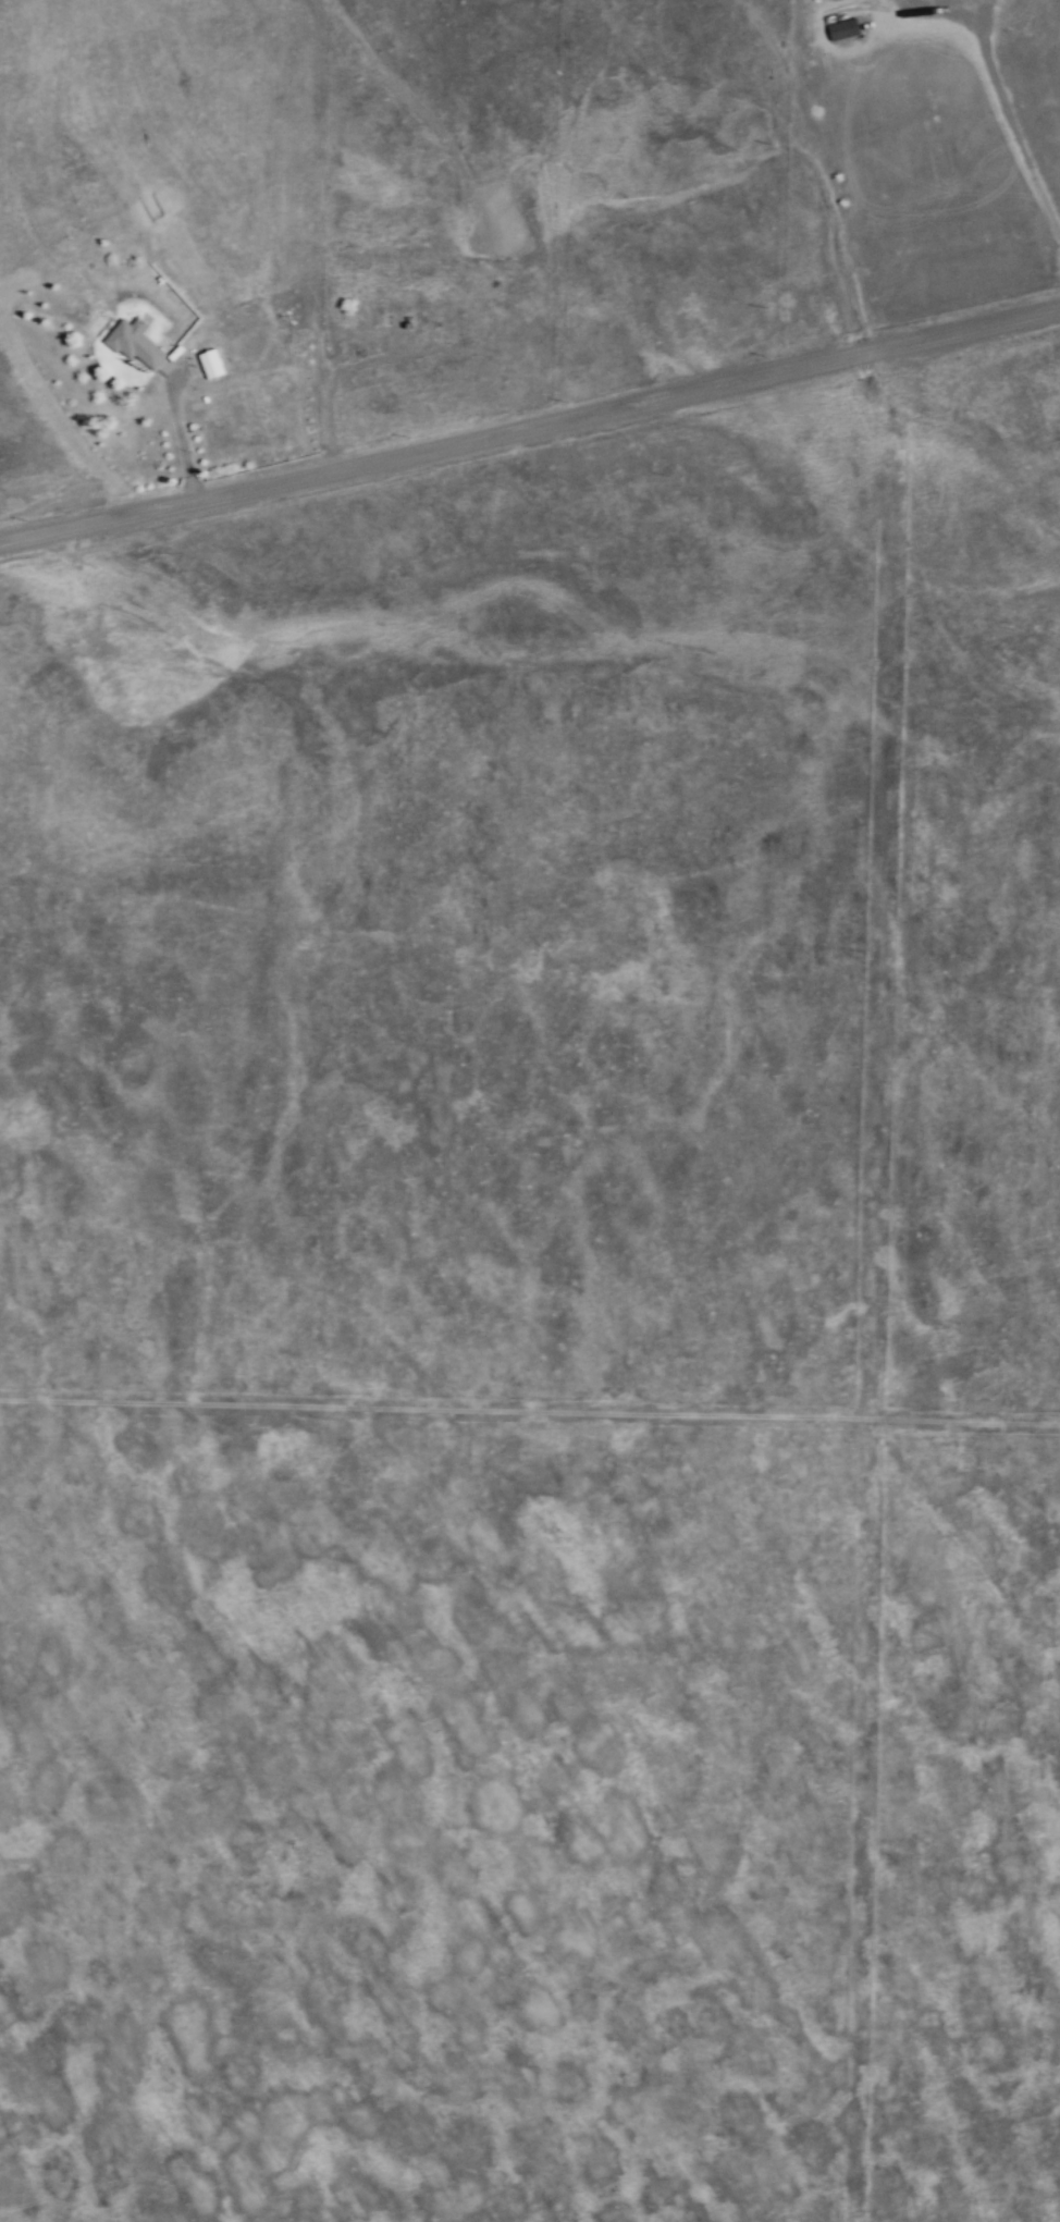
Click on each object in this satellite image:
building: (217, 364)
road: (530, 427)

